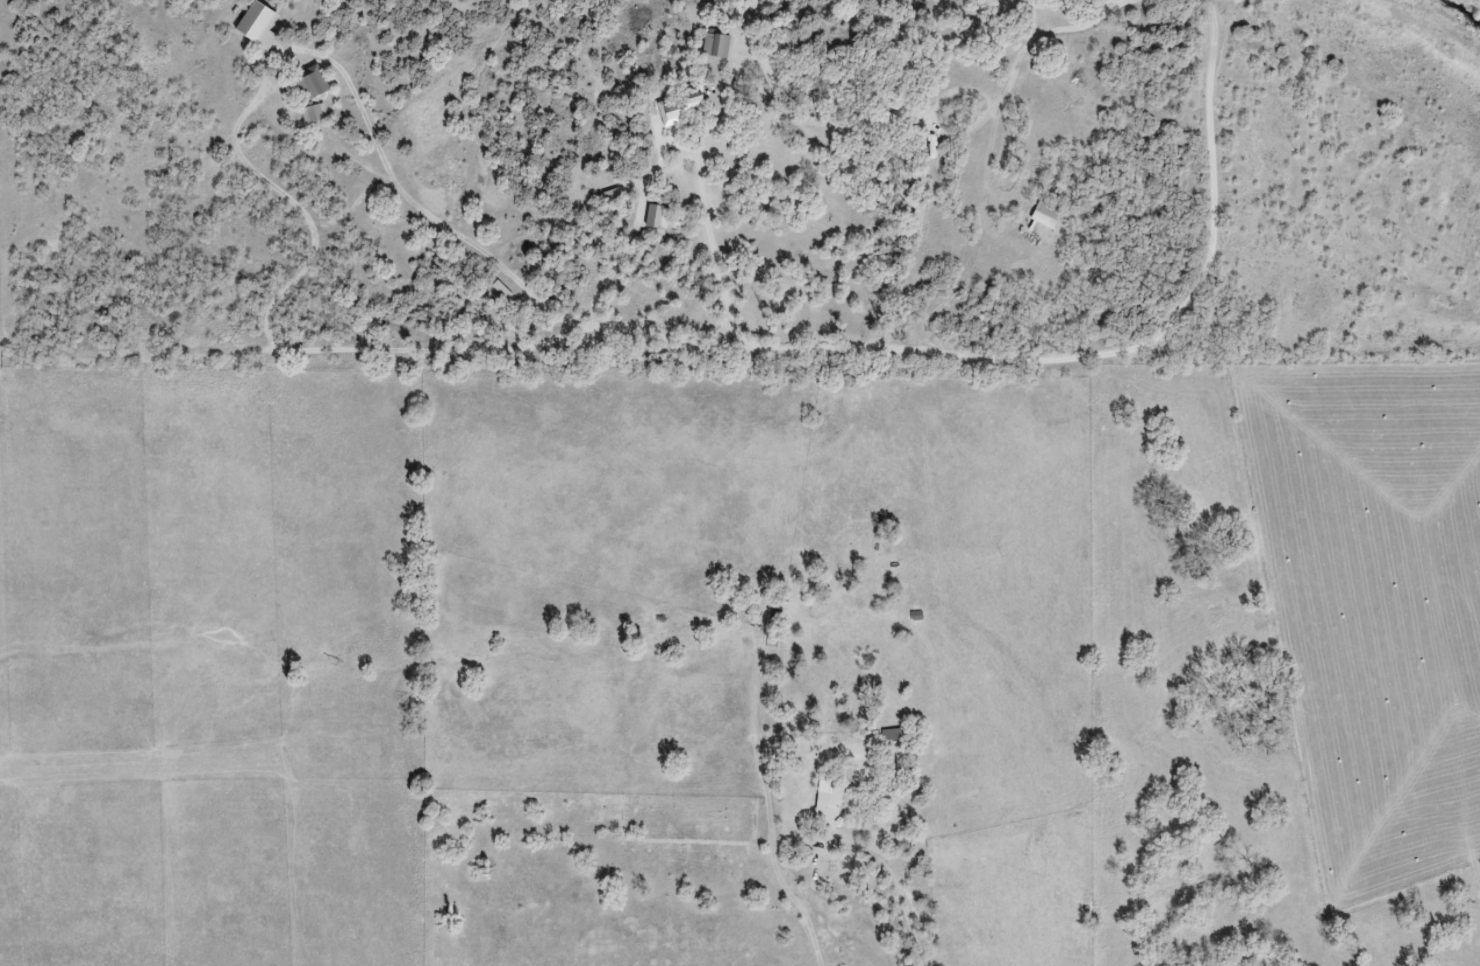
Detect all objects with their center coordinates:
building: (717, 44)
building: (311, 83)
building: (696, 101)
building: (502, 290)
building: (917, 616)
building: (891, 735)
building: (829, 804)

